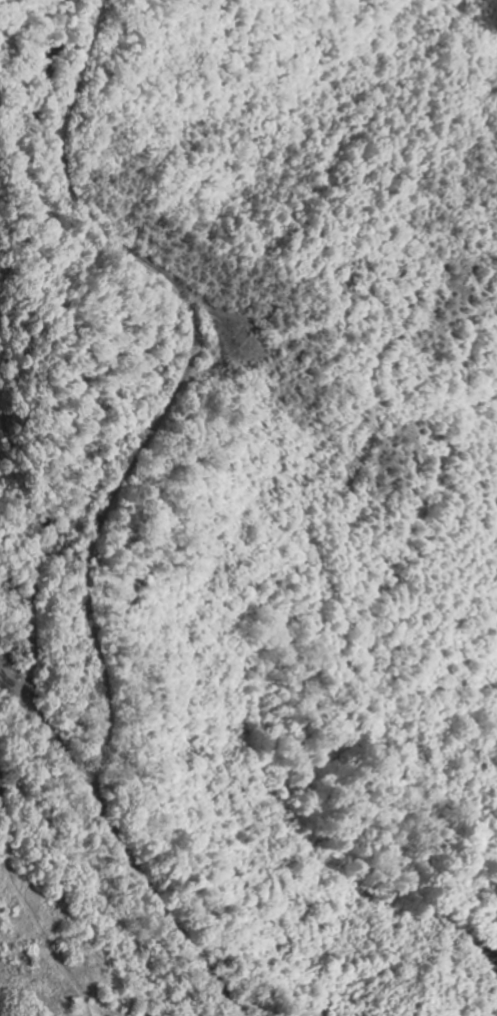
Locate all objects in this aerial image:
road: (10, 711)
road: (138, 881)

